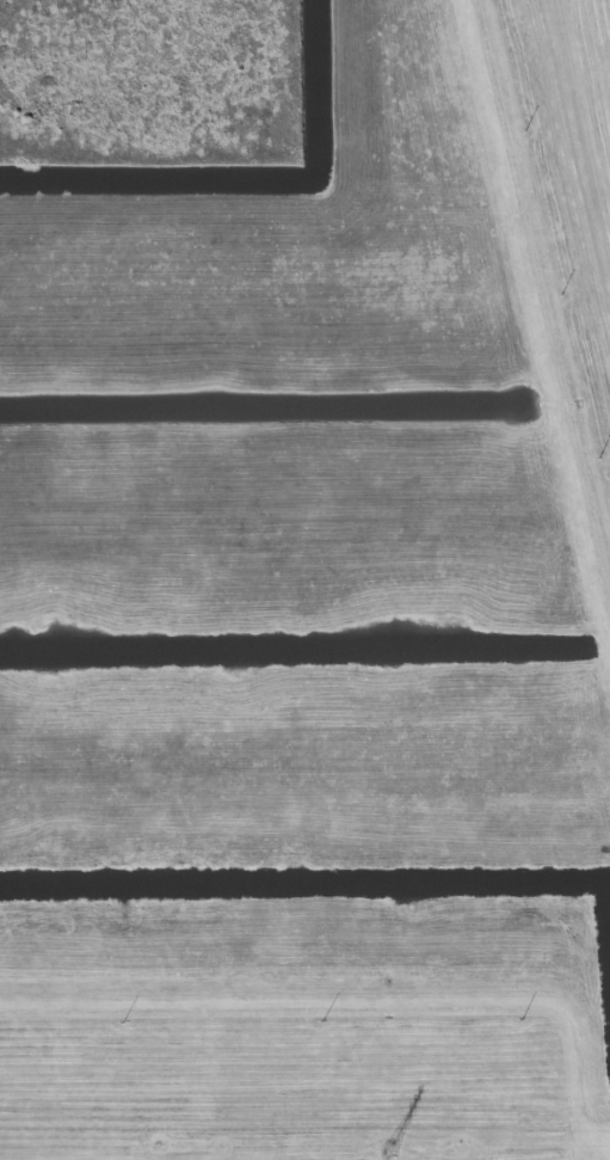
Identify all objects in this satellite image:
power tower: (382, 1150)

